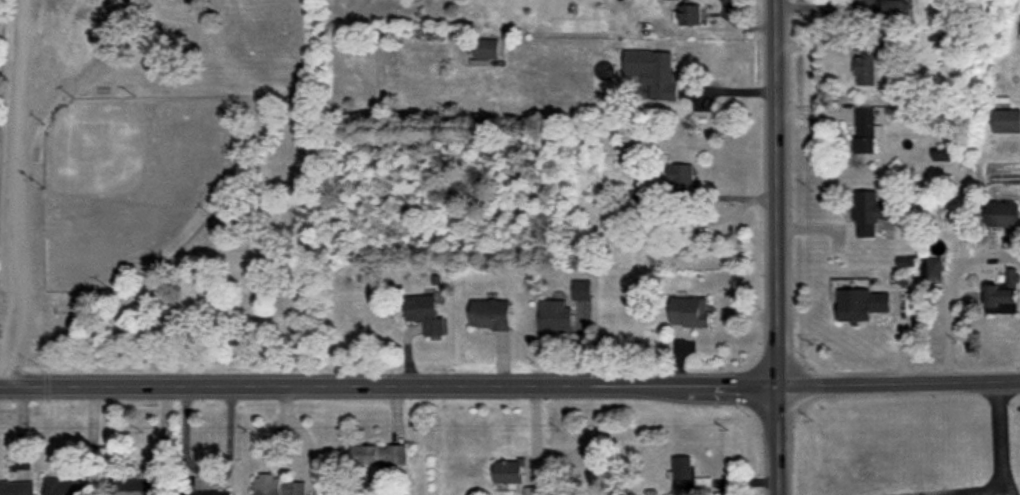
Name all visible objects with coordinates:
building: (689, 14)
road: (741, 24)
building: (486, 48)
building: (867, 64)
building: (653, 72)
building: (1006, 121)
building: (864, 129)
building: (941, 155)
building: (681, 176)
park: (144, 182)
road: (14, 192)
road: (698, 200)
building: (868, 212)
building: (1005, 214)
road: (776, 247)
building: (932, 269)
building: (582, 289)
building: (1003, 295)
road: (950, 299)
building: (861, 304)
building: (690, 311)
building: (424, 313)
building: (490, 314)
building: (554, 315)
road: (388, 385)
road: (898, 388)
road: (999, 453)
building: (379, 456)
building: (508, 471)
building: (682, 473)
building: (60, 486)
building: (277, 486)
building: (17, 487)
building: (137, 487)
building: (533, 490)
building: (211, 493)
road: (1000, 493)

